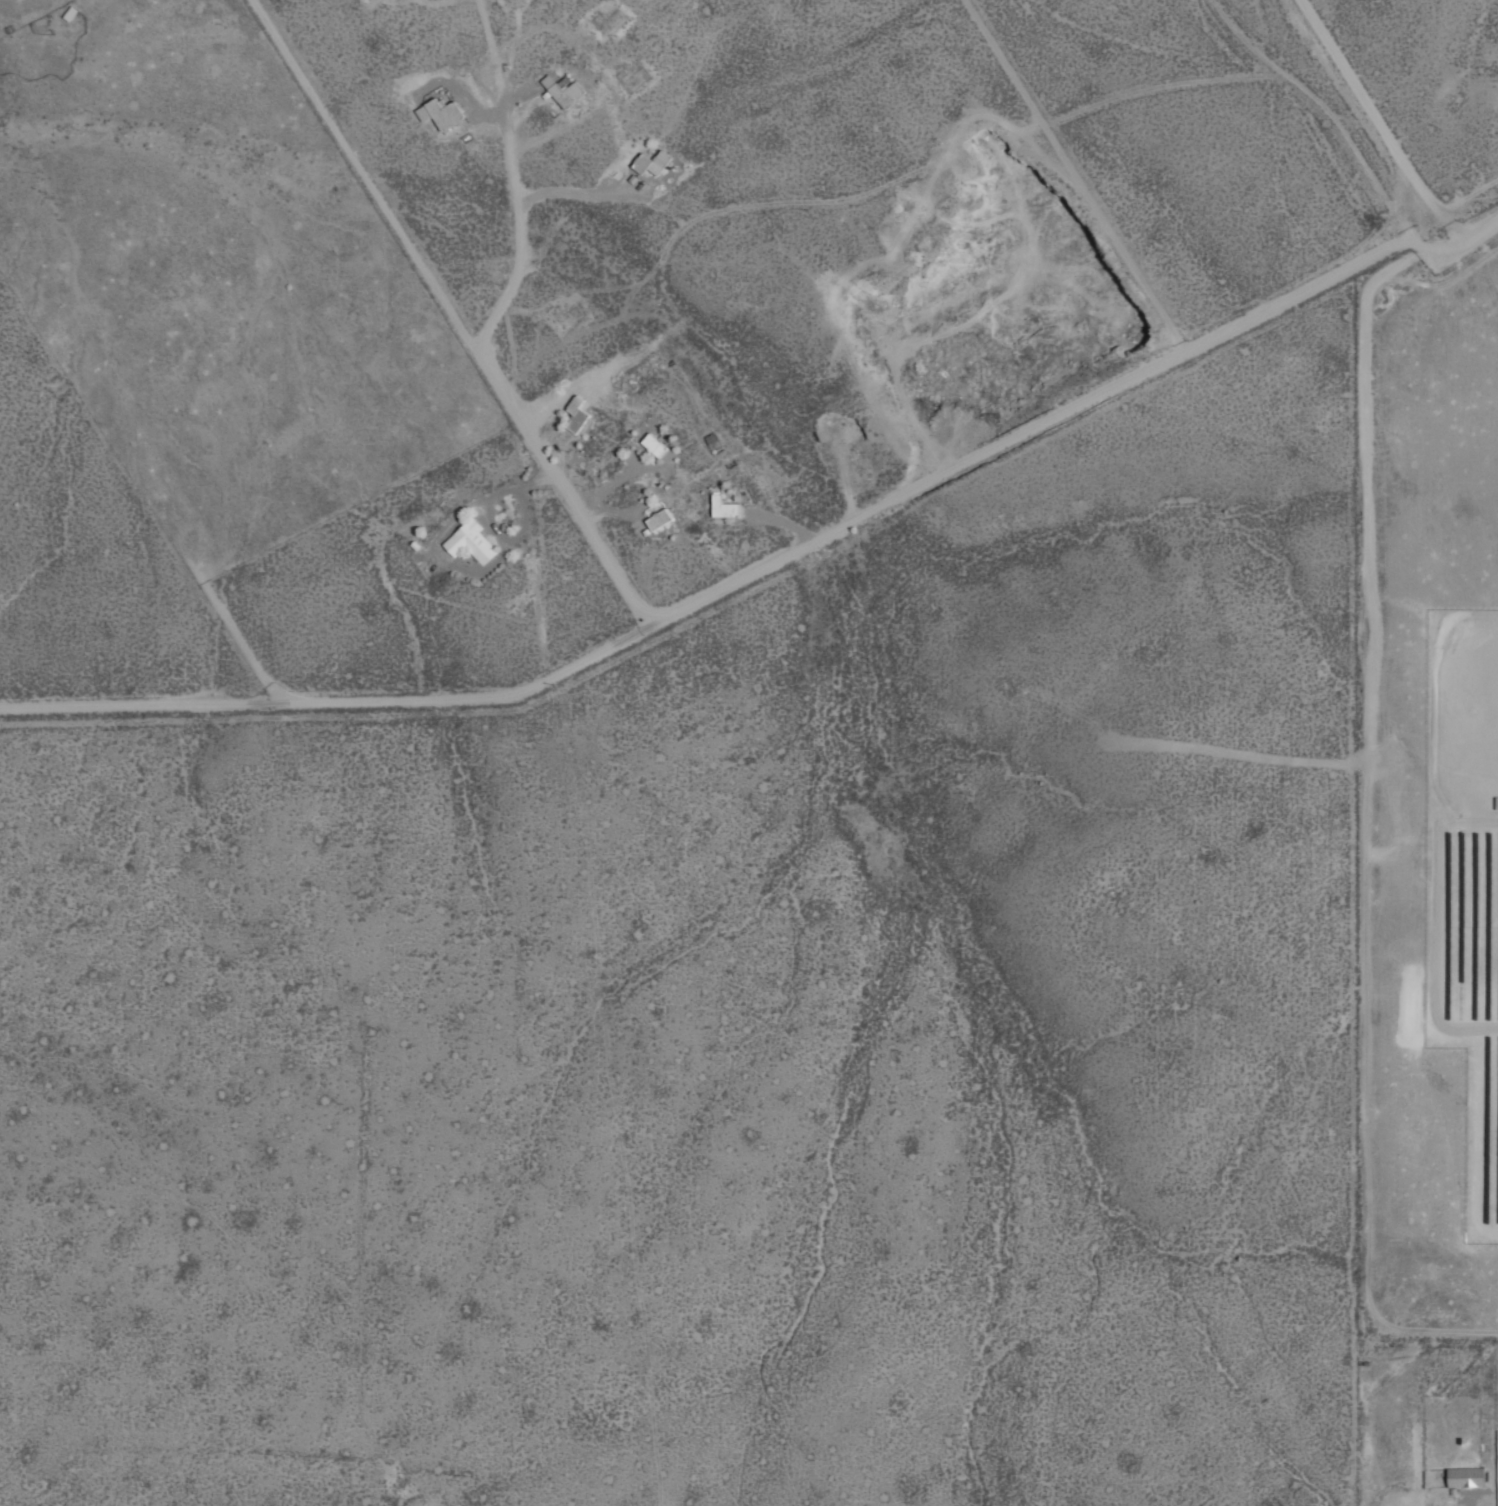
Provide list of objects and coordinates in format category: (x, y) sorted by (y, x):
building: (565, 92)
building: (438, 113)
road: (1380, 120)
building: (649, 161)
road: (512, 177)
road: (1481, 226)
road: (449, 312)
road: (1057, 413)
building: (651, 444)
building: (720, 506)
building: (656, 518)
building: (468, 541)
road: (334, 697)
road: (1369, 729)
solar farm: (1464, 877)
building: (1464, 1477)

